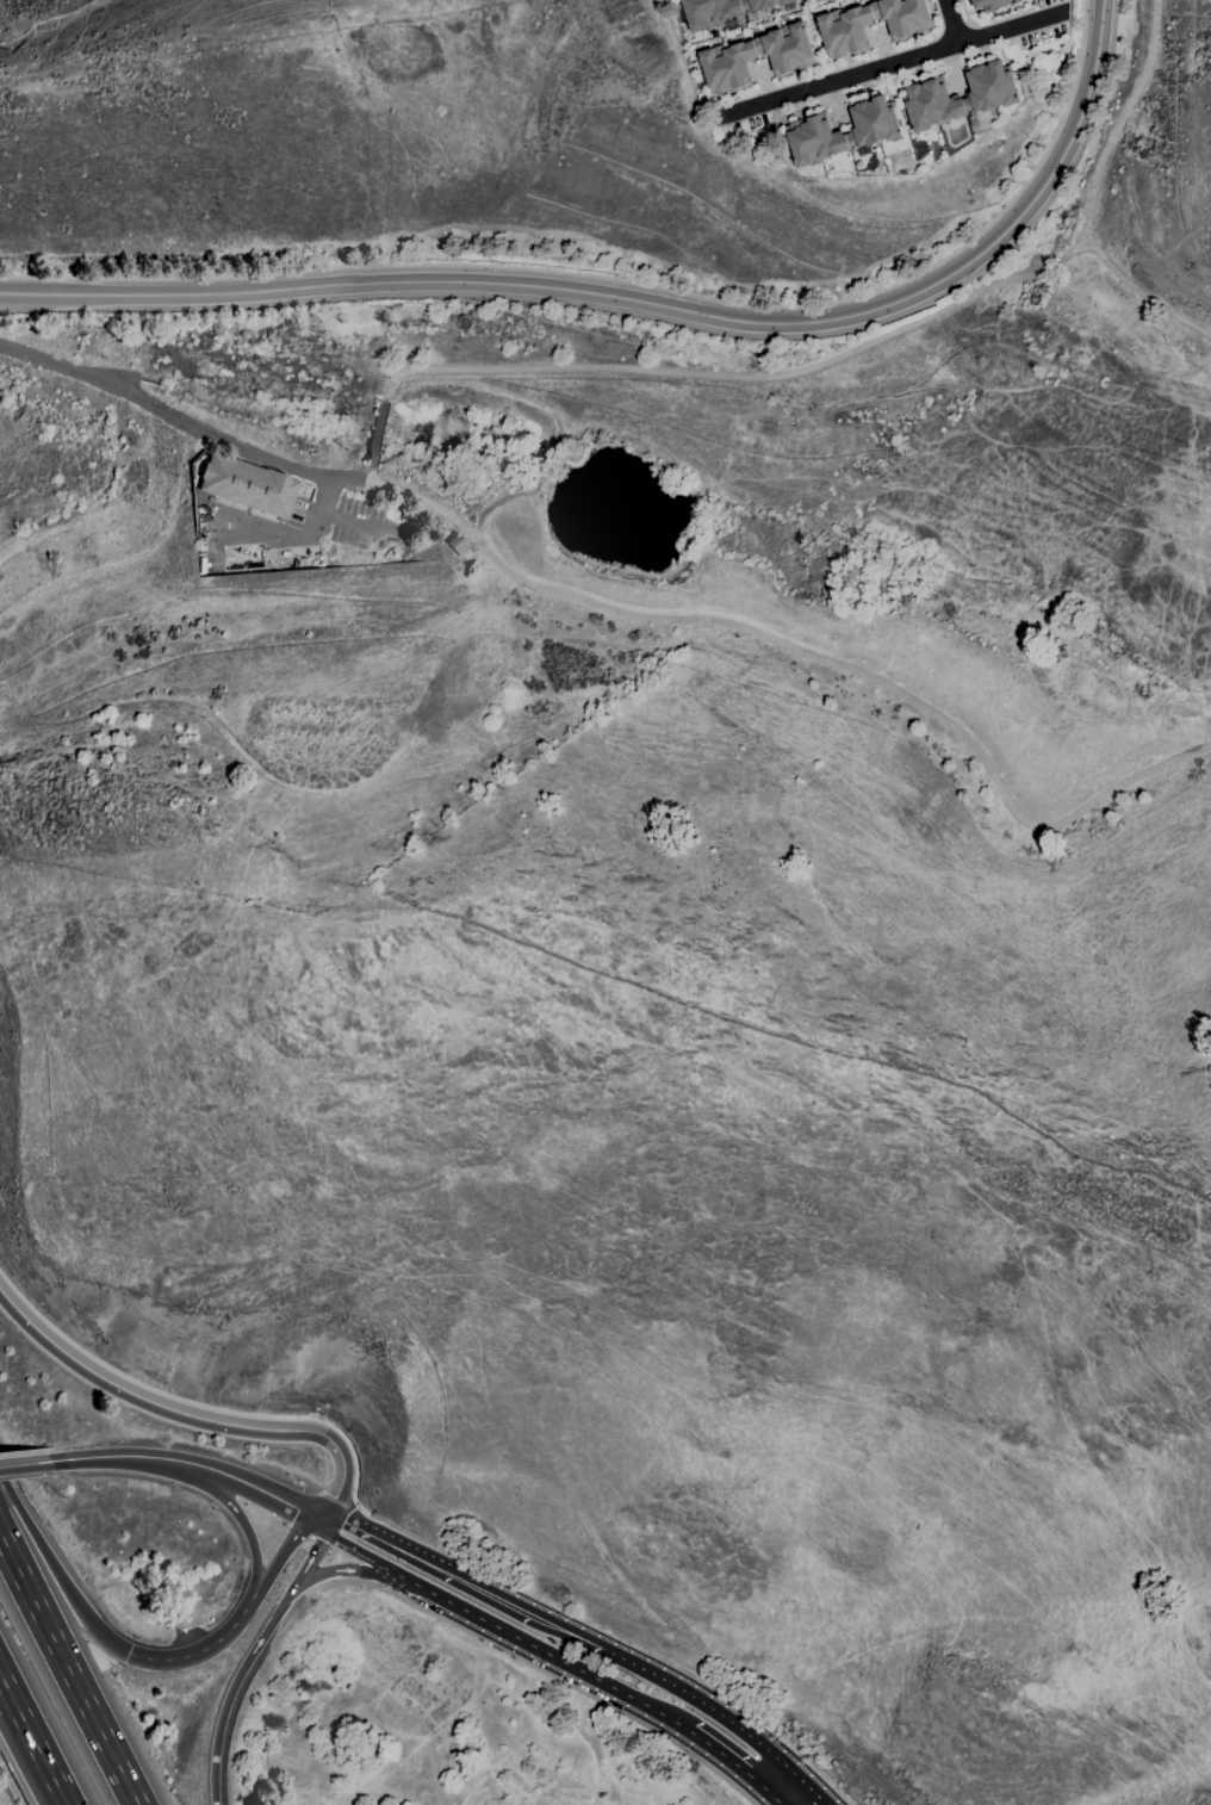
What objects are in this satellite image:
building: (993, 4)
building: (727, 11)
road: (964, 15)
road: (951, 21)
building: (871, 24)
building: (727, 58)
road: (890, 63)
road: (892, 79)
building: (992, 95)
building: (875, 131)
road: (629, 281)
road: (1141, 292)
road: (642, 302)
road: (861, 348)
road: (378, 435)
road: (366, 474)
park: (729, 484)
building: (247, 485)
building: (457, 544)
building: (286, 553)
building: (269, 559)
building: (203, 565)
road: (617, 612)
road: (194, 1403)
road: (191, 1416)
road: (80, 1444)
road: (120, 1447)
road: (21, 1452)
road: (117, 1457)
road: (24, 1464)
road: (251, 1485)
road: (337, 1500)
road: (236, 1513)
road: (285, 1545)
road: (316, 1549)
road: (355, 1549)
road: (427, 1559)
road: (349, 1569)
road: (60, 1577)
road: (567, 1630)
road: (209, 1648)
parking lot: (513, 1650)
road: (545, 1652)
traffic signals: (128, 1654)
road: (68, 1669)
road: (538, 1669)
road: (234, 1683)
road: (8, 1692)
road: (700, 1704)
road: (41, 1757)
road: (732, 1763)
road: (782, 1785)
road: (808, 1790)
park: (5, 1794)
road: (776, 1800)

